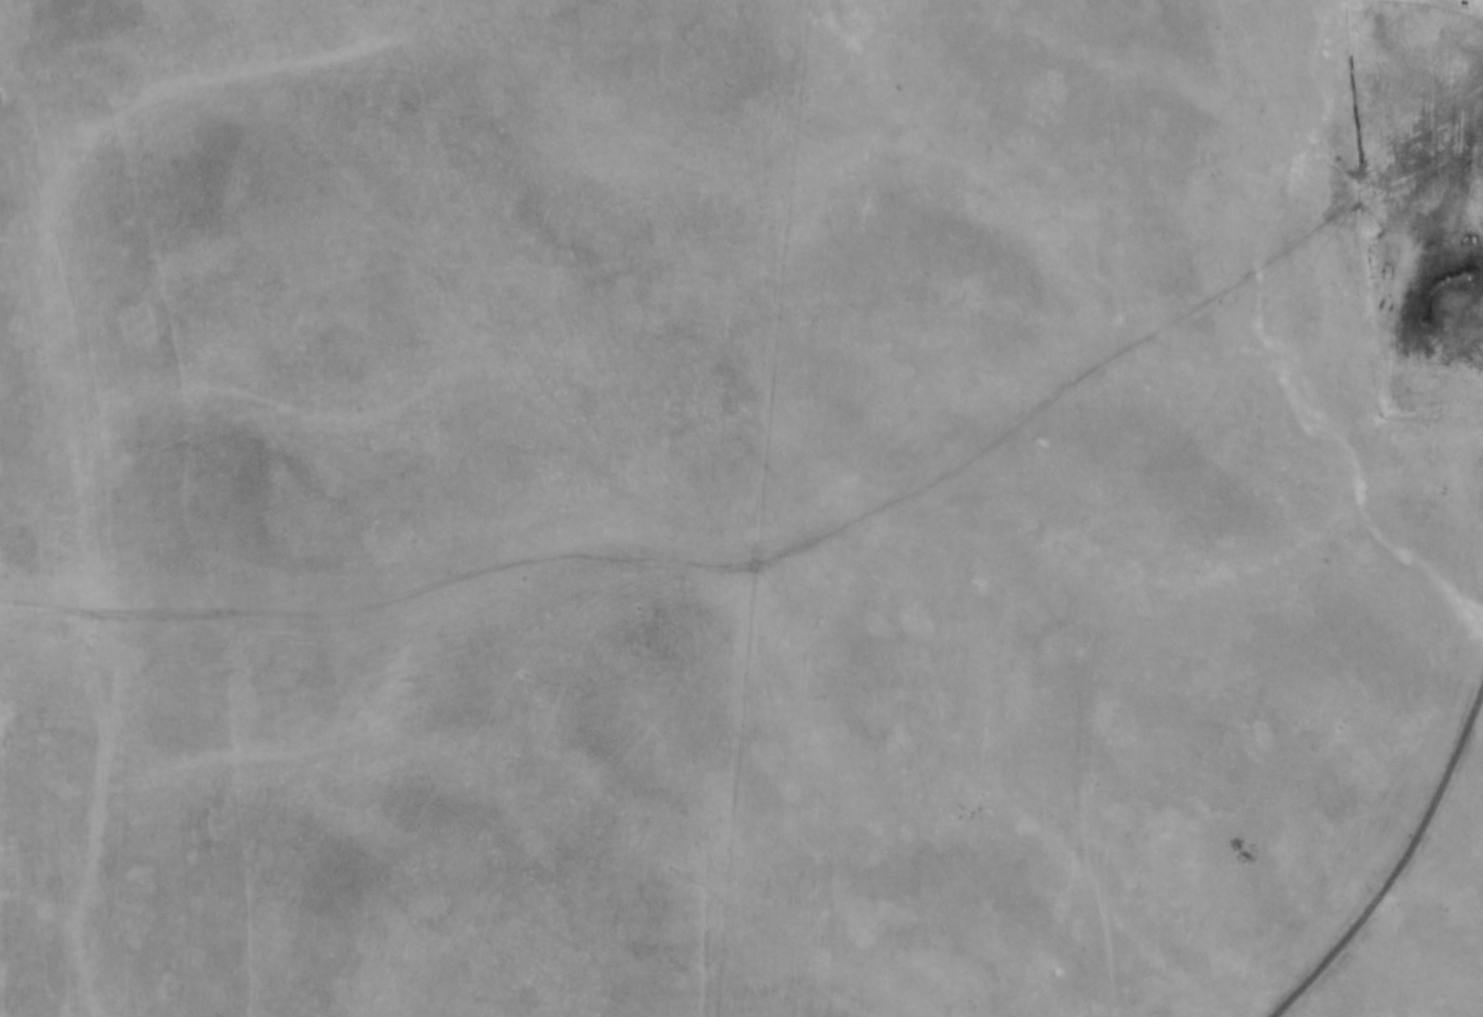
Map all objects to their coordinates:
road: (1402, 862)

